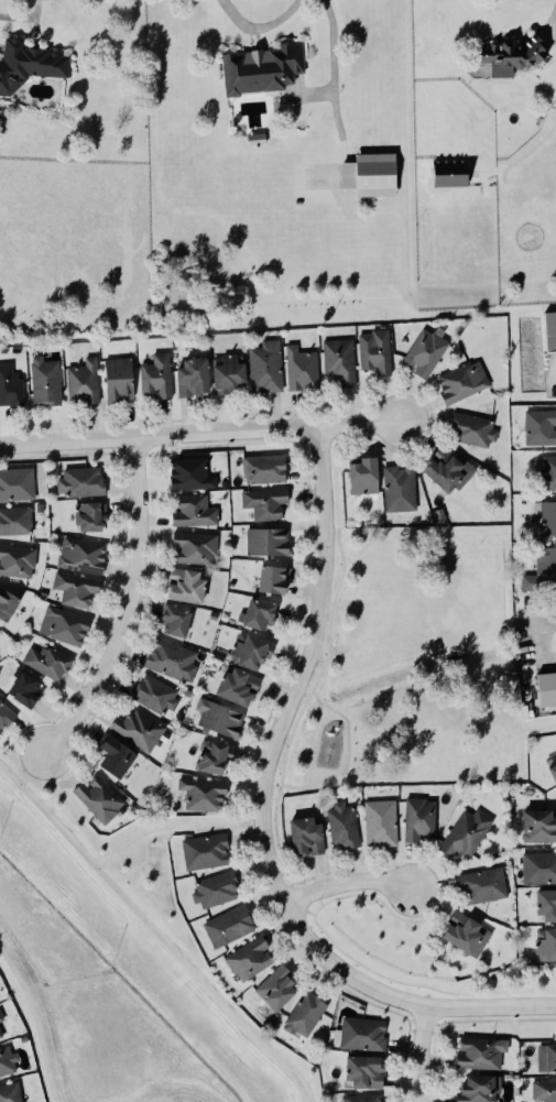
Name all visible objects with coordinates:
road: (264, 30)
road: (553, 36)
building: (514, 57)
building: (30, 66)
building: (264, 70)
road: (335, 73)
building: (255, 141)
building: (450, 174)
building: (375, 175)
building: (549, 332)
building: (375, 353)
building: (427, 353)
building: (339, 363)
building: (266, 369)
building: (303, 370)
building: (229, 375)
building: (159, 378)
building: (195, 380)
building: (120, 381)
building: (464, 383)
building: (46, 384)
building: (84, 384)
building: (11, 389)
building: (541, 429)
building: (473, 433)
road: (199, 436)
building: (265, 470)
building: (448, 472)
building: (550, 474)
building: (192, 476)
building: (364, 478)
building: (81, 483)
building: (17, 487)
building: (401, 491)
building: (266, 505)
building: (195, 513)
building: (90, 519)
building: (546, 519)
building: (15, 523)
building: (269, 544)
building: (195, 549)
building: (83, 557)
building: (18, 563)
building: (543, 571)
building: (274, 581)
building: (186, 588)
building: (77, 590)
building: (8, 607)
road: (126, 608)
building: (261, 614)
building: (176, 623)
road: (538, 626)
building: (65, 628)
road: (543, 646)
building: (250, 653)
building: (48, 663)
building: (172, 663)
park: (413, 666)
building: (240, 689)
building: (546, 690)
building: (26, 691)
building: (155, 696)
building: (6, 718)
building: (220, 720)
building: (139, 731)
building: (117, 759)
building: (214, 759)
road: (31, 772)
building: (554, 773)
building: (204, 796)
building: (100, 800)
road: (260, 820)
building: (419, 821)
building: (381, 825)
road: (171, 827)
building: (344, 828)
building: (539, 829)
building: (467, 834)
building: (307, 839)
building: (206, 853)
building: (539, 870)
road: (346, 884)
building: (483, 887)
building: (217, 892)
building: (547, 907)
building: (229, 928)
road: (155, 935)
building: (467, 937)
building: (546, 947)
building: (251, 960)
building: (277, 990)
building: (306, 1016)
building: (1, 1018)
road: (34, 1024)
building: (1, 1034)
building: (363, 1036)
road: (418, 1054)
building: (481, 1055)
building: (552, 1059)
building: (8, 1063)
building: (366, 1072)
building: (481, 1089)
building: (544, 1092)
building: (10, 1093)
building: (362, 1100)

